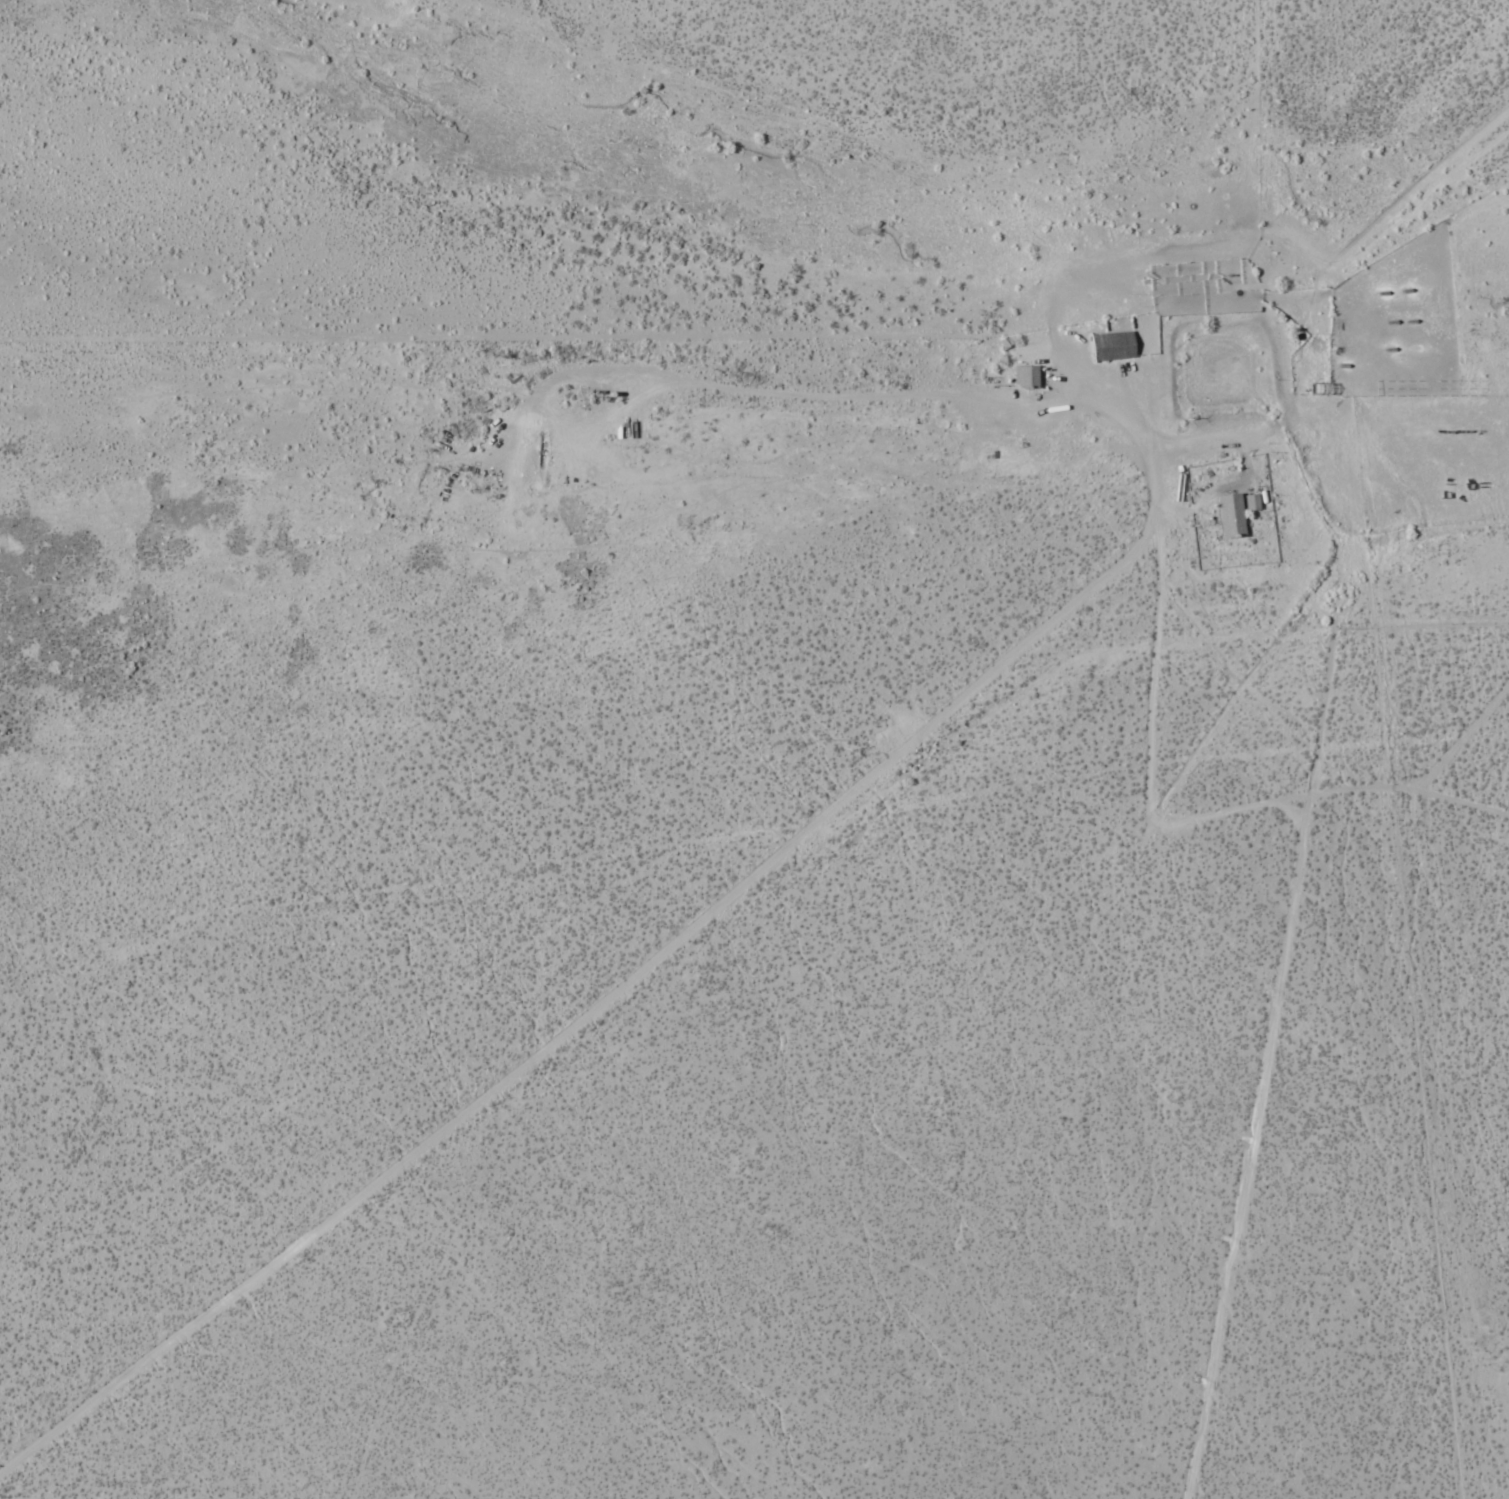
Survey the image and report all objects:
road: (1346, 332)
building: (1114, 339)
building: (1027, 370)
road: (833, 387)
building: (1253, 495)
building: (1232, 509)
road: (1192, 809)
road: (621, 982)
road: (1251, 1144)

